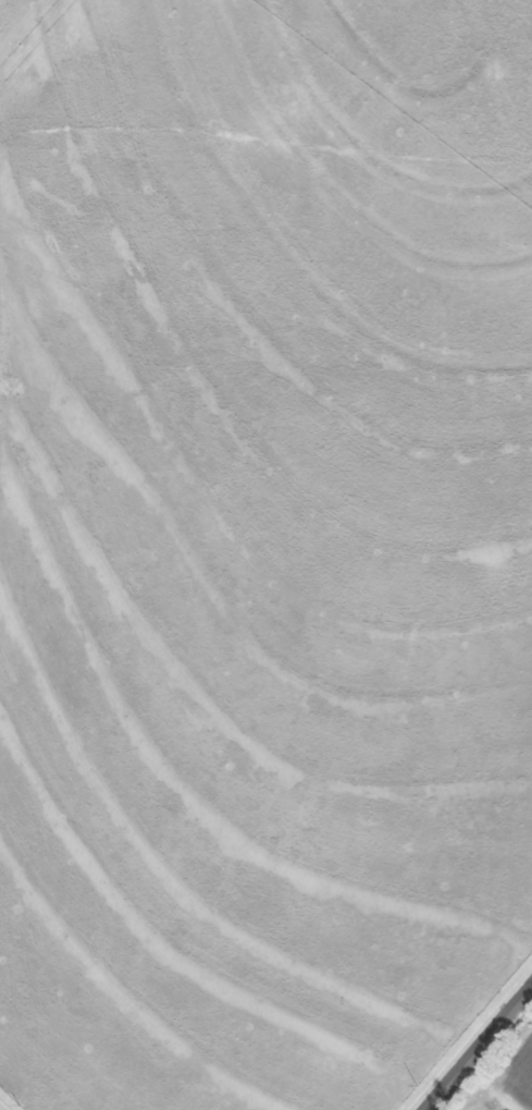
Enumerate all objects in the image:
road: (480, 1048)
road: (1, 1108)

